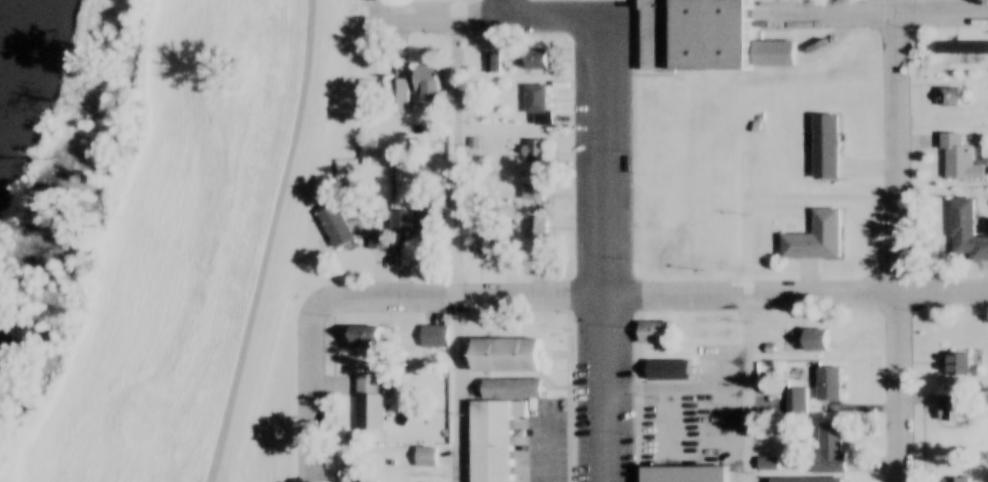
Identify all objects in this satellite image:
road: (503, 8)
road: (366, 9)
road: (941, 12)
road: (830, 14)
road: (475, 17)
building: (692, 35)
building: (961, 49)
building: (771, 54)
building: (534, 60)
building: (492, 64)
building: (425, 87)
building: (388, 95)
building: (948, 97)
building: (536, 105)
building: (287, 146)
building: (825, 147)
building: (532, 153)
road: (457, 157)
building: (960, 159)
building: (533, 192)
building: (334, 225)
building: (407, 226)
building: (537, 229)
building: (965, 233)
building: (815, 237)
road: (897, 240)
building: (477, 243)
road: (608, 250)
road: (798, 293)
road: (460, 297)
building: (195, 329)
building: (248, 333)
building: (657, 334)
building: (361, 335)
building: (812, 341)
building: (769, 348)
building: (504, 354)
building: (958, 363)
building: (666, 371)
building: (827, 384)
building: (511, 389)
road: (311, 390)
building: (797, 400)
building: (368, 403)
building: (952, 408)
building: (489, 441)
building: (829, 451)
building: (426, 457)
building: (243, 460)
building: (767, 463)
building: (687, 474)
building: (95, 476)
building: (954, 479)
building: (807, 480)
building: (365, 481)

